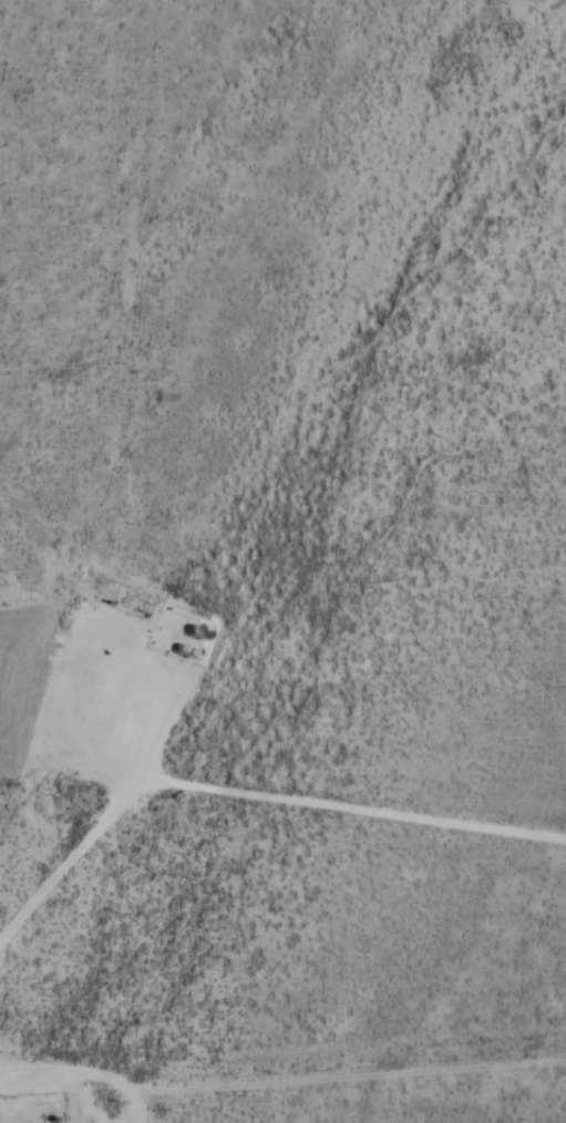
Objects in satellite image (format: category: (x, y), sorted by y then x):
road: (247, 794)
road: (31, 1081)

